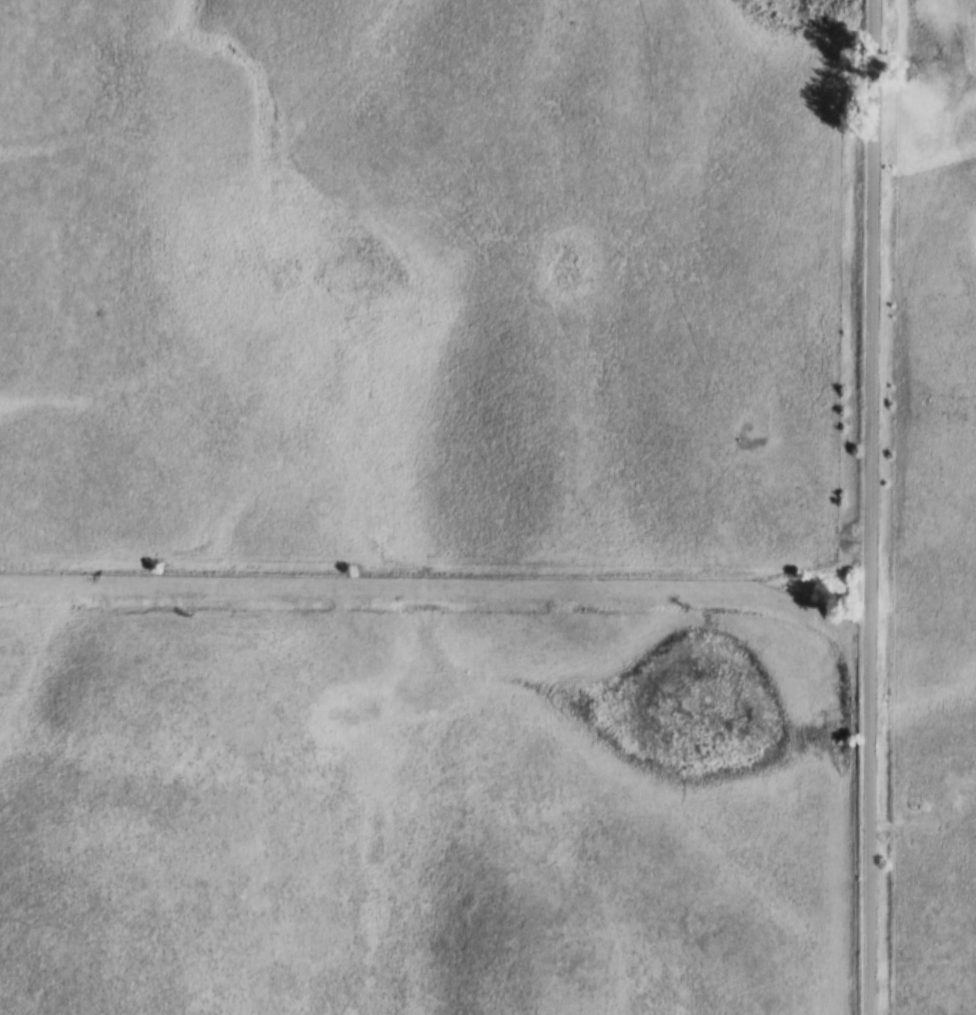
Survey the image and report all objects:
road: (879, 507)

